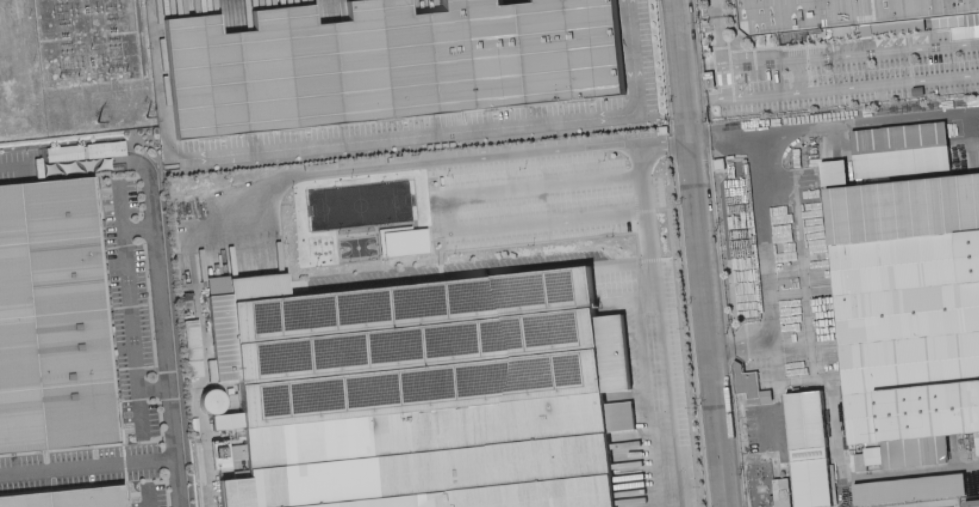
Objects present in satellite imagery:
parking lot: (723, 0)
building: (854, 17)
power tower: (695, 19)
road: (717, 34)
building: (386, 63)
power substation: (74, 68)
parking lot: (864, 70)
road: (159, 76)
power tower: (145, 115)
parking lot: (461, 116)
power tower: (704, 118)
power tower: (94, 119)
parking lot: (14, 162)
parking lot: (531, 199)
park: (357, 203)
power tower: (717, 226)
building: (410, 242)
road: (703, 253)
parking lot: (127, 305)
building: (57, 319)
power tower: (727, 330)
parking lot: (650, 346)
parking lot: (768, 426)
power tower: (735, 469)
parking lot: (142, 493)

